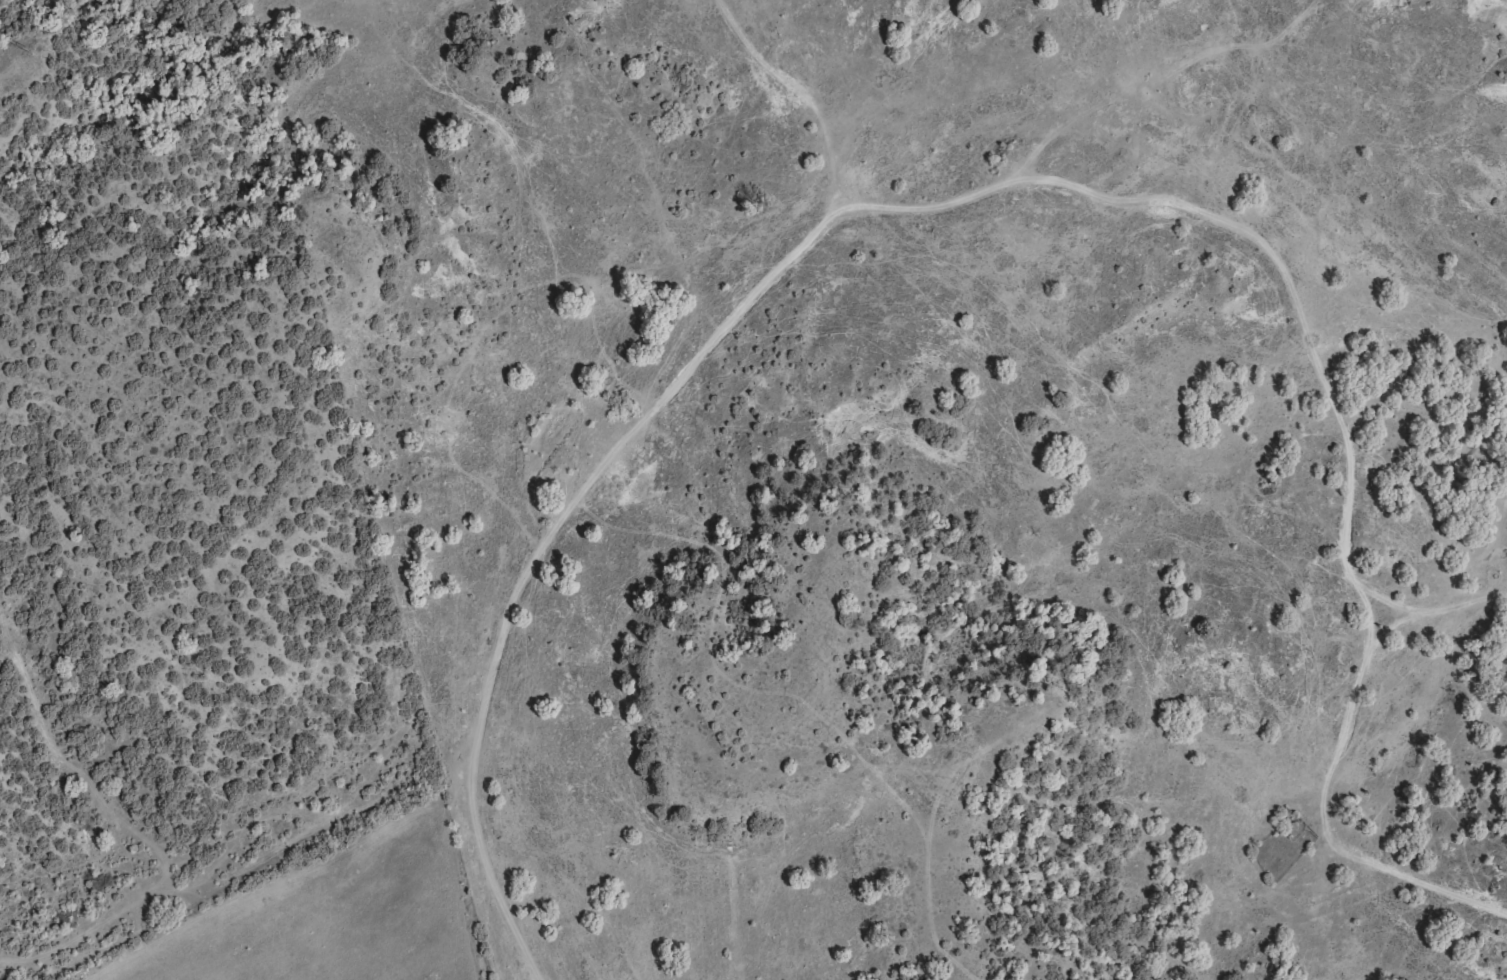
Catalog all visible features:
power tower: (26, 51)

